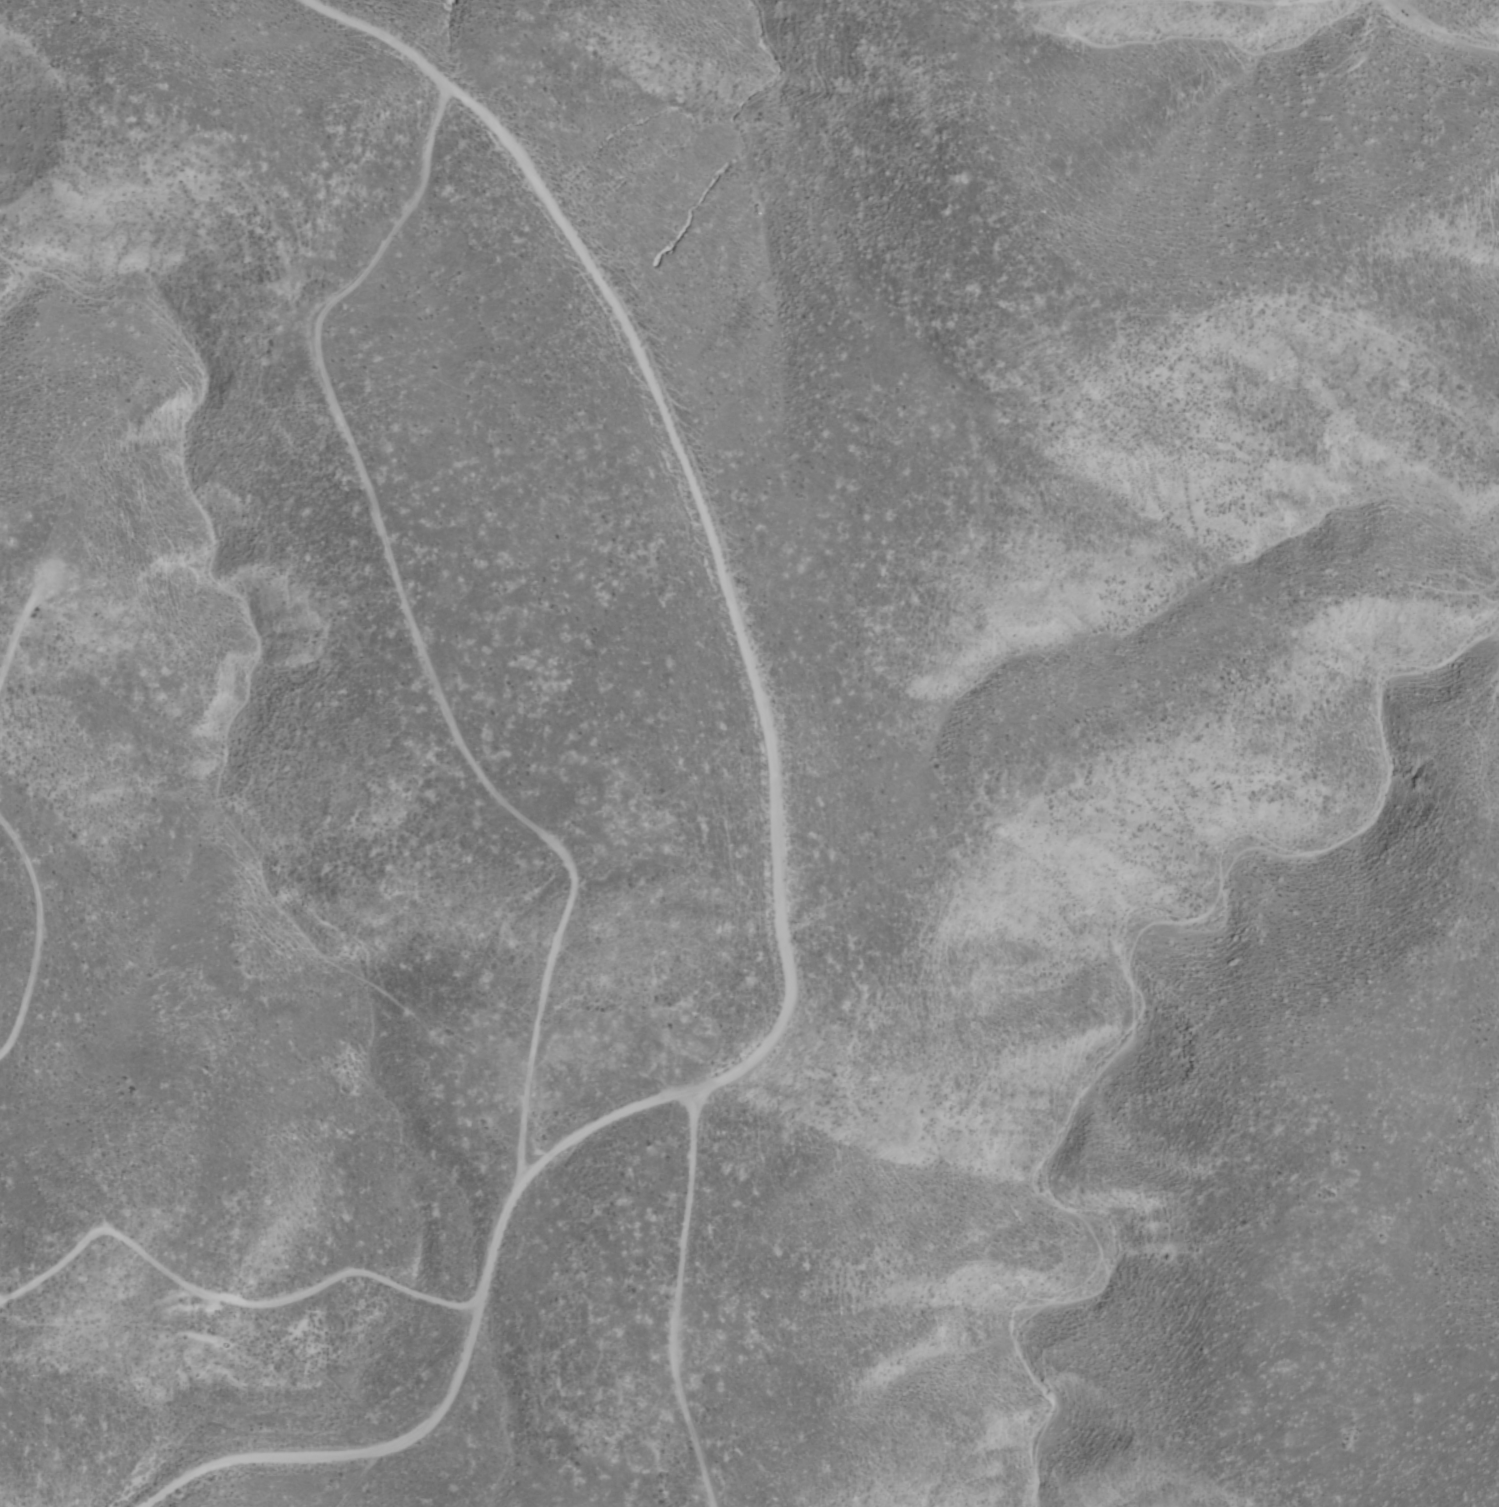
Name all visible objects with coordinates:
road: (725, 575)
road: (222, 1297)
road: (679, 1301)
road: (426, 1426)

